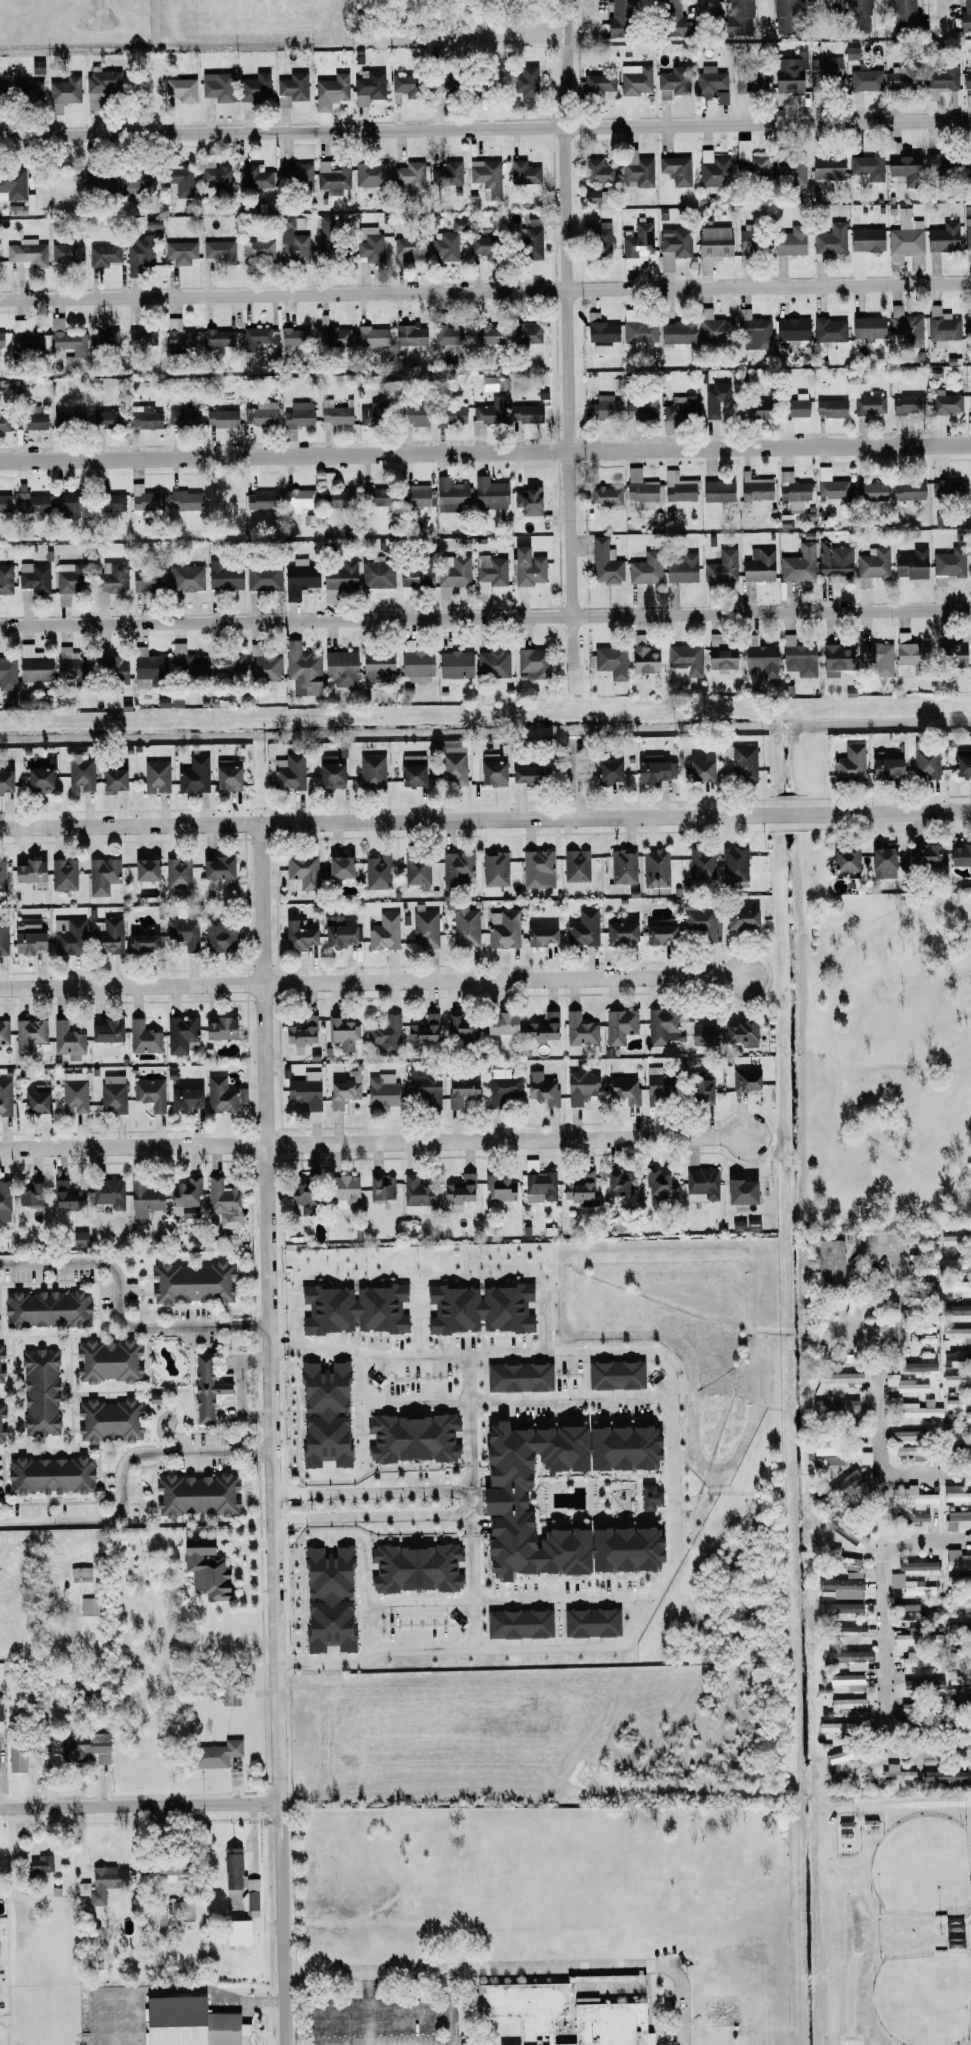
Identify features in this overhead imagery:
road: (577, 0)
road: (706, 7)
road: (941, 7)
road: (822, 10)
building: (903, 14)
building: (785, 15)
building: (964, 15)
building: (616, 16)
building: (669, 17)
building: (737, 19)
road: (567, 22)
building: (35, 66)
building: (825, 69)
building: (788, 73)
building: (902, 77)
building: (967, 77)
building: (635, 79)
building: (865, 79)
building: (939, 79)
building: (525, 81)
building: (749, 81)
building: (672, 82)
building: (400, 83)
building: (595, 83)
building: (711, 83)
building: (99, 85)
building: (484, 85)
building: (217, 86)
building: (368, 86)
building: (254, 87)
building: (291, 88)
building: (180, 89)
building: (26, 90)
building: (330, 91)
building: (63, 92)
building: (0, 93)
building: (395, 97)
building: (627, 101)
road: (485, 127)
building: (748, 161)
building: (900, 161)
building: (933, 163)
building: (967, 164)
building: (827, 167)
building: (867, 167)
building: (676, 169)
building: (713, 169)
building: (597, 170)
building: (636, 170)
building: (789, 171)
building: (370, 172)
building: (523, 172)
building: (408, 175)
building: (446, 175)
building: (217, 176)
building: (177, 177)
building: (256, 177)
building: (296, 177)
building: (332, 177)
building: (487, 177)
building: (137, 179)
building: (102, 181)
building: (12, 184)
building: (590, 196)
building: (533, 218)
building: (462, 225)
building: (906, 233)
building: (967, 233)
building: (943, 237)
building: (599, 239)
building: (866, 239)
building: (638, 240)
building: (830, 240)
building: (790, 241)
building: (329, 242)
building: (528, 242)
building: (751, 242)
building: (291, 243)
building: (368, 243)
building: (481, 244)
building: (408, 245)
building: (673, 245)
building: (712, 245)
building: (444, 247)
building: (257, 249)
building: (30, 252)
building: (66, 252)
building: (180, 252)
building: (218, 252)
building: (139, 253)
building: (103, 255)
building: (400, 258)
road: (485, 290)
building: (904, 321)
building: (942, 323)
building: (712, 326)
building: (754, 328)
building: (600, 329)
building: (791, 329)
building: (828, 329)
building: (867, 329)
building: (639, 331)
building: (524, 333)
building: (677, 333)
building: (408, 334)
building: (446, 334)
building: (177, 335)
building: (484, 335)
building: (290, 336)
building: (332, 336)
building: (371, 336)
building: (145, 337)
building: (218, 337)
building: (255, 337)
building: (105, 338)
building: (1, 339)
building: (25, 339)
building: (67, 339)
building: (602, 349)
road: (568, 360)
building: (486, 382)
building: (716, 400)
building: (945, 402)
building: (969, 402)
building: (869, 403)
building: (906, 404)
building: (794, 405)
building: (640, 406)
building: (679, 406)
building: (603, 407)
building: (830, 407)
building: (752, 408)
building: (489, 410)
building: (335, 411)
building: (262, 413)
building: (411, 413)
building: (450, 413)
building: (525, 413)
building: (298, 415)
building: (31, 416)
building: (144, 416)
building: (65, 417)
building: (184, 417)
building: (221, 417)
building: (103, 418)
building: (3, 420)
road: (485, 451)
building: (970, 480)
building: (830, 484)
building: (755, 488)
building: (642, 489)
building: (678, 489)
building: (717, 490)
building: (869, 490)
building: (908, 490)
building: (946, 490)
building: (415, 494)
building: (450, 494)
building: (489, 494)
building: (370, 495)
building: (605, 495)
building: (791, 495)
building: (143, 497)
building: (298, 497)
building: (184, 499)
building: (259, 499)
building: (332, 500)
building: (109, 501)
building: (528, 501)
building: (4, 503)
building: (31, 504)
building: (68, 505)
building: (833, 558)
building: (604, 562)
building: (798, 563)
building: (910, 563)
building: (757, 564)
building: (948, 564)
building: (969, 564)
building: (871, 565)
building: (527, 566)
building: (721, 566)
building: (645, 568)
building: (681, 568)
building: (489, 572)
building: (451, 573)
building: (339, 574)
building: (224, 575)
building: (414, 575)
building: (186, 577)
building: (263, 577)
building: (298, 577)
building: (375, 577)
building: (5, 578)
building: (67, 578)
building: (147, 578)
building: (33, 579)
building: (109, 580)
building: (63, 599)
road: (485, 616)
building: (719, 653)
building: (953, 654)
building: (760, 656)
building: (797, 657)
building: (876, 657)
building: (912, 657)
building: (685, 658)
building: (834, 658)
building: (642, 659)
building: (186, 661)
building: (531, 661)
building: (608, 661)
building: (68, 662)
building: (227, 662)
building: (491, 662)
building: (415, 663)
building: (31, 664)
building: (263, 664)
building: (376, 665)
building: (454, 665)
building: (146, 667)
building: (339, 667)
building: (113, 668)
building: (302, 669)
building: (7, 671)
building: (175, 700)
building: (451, 762)
building: (925, 762)
building: (962, 762)
building: (743, 763)
building: (849, 763)
building: (884, 767)
building: (490, 768)
building: (410, 769)
building: (699, 769)
building: (371, 770)
building: (606, 770)
building: (649, 770)
building: (524, 771)
building: (288, 772)
building: (328, 772)
building: (193, 774)
building: (79, 775)
building: (155, 775)
building: (226, 775)
road: (575, 776)
building: (111, 779)
building: (5, 780)
building: (37, 780)
road: (485, 818)
building: (922, 853)
building: (959, 854)
building: (843, 858)
building: (701, 862)
building: (883, 862)
building: (575, 865)
building: (735, 865)
building: (338, 866)
building: (143, 868)
building: (217, 868)
building: (456, 868)
building: (494, 868)
building: (415, 869)
building: (621, 869)
building: (655, 869)
building: (537, 870)
building: (27, 871)
building: (300, 871)
building: (176, 872)
building: (377, 873)
building: (62, 874)
building: (2, 875)
building: (102, 875)
building: (740, 917)
building: (25, 922)
building: (699, 922)
building: (465, 925)
building: (424, 927)
building: (582, 928)
building: (501, 930)
building: (182, 931)
building: (384, 931)
building: (339, 932)
building: (619, 932)
building: (658, 932)
building: (218, 933)
building: (106, 935)
building: (296, 935)
building: (538, 935)
building: (3, 936)
building: (67, 936)
building: (140, 941)
building: (25, 942)
road: (963, 976)
road: (840, 979)
road: (372, 980)
building: (499, 1025)
building: (619, 1025)
building: (659, 1025)
building: (545, 1026)
building: (462, 1027)
building: (218, 1028)
building: (423, 1028)
building: (579, 1029)
building: (3, 1031)
building: (301, 1031)
building: (739, 1031)
building: (384, 1032)
building: (104, 1033)
building: (180, 1033)
building: (342, 1034)
building: (702, 1034)
building: (29, 1036)
building: (142, 1037)
building: (67, 1040)
park: (884, 1053)
building: (745, 1078)
building: (656, 1082)
building: (424, 1085)
building: (503, 1085)
building: (579, 1086)
building: (541, 1088)
building: (623, 1089)
building: (380, 1090)
building: (700, 1090)
building: (461, 1091)
building: (304, 1092)
building: (341, 1092)
building: (74, 1093)
building: (111, 1093)
building: (149, 1093)
building: (223, 1094)
building: (4, 1096)
building: (182, 1098)
building: (35, 1099)
road: (373, 1140)
road: (872, 1140)
road: (922, 1167)
building: (619, 1182)
building: (658, 1184)
building: (701, 1184)
building: (539, 1186)
building: (578, 1186)
building: (381, 1187)
building: (499, 1189)
building: (342, 1191)
building: (107, 1192)
building: (739, 1193)
building: (29, 1194)
building: (416, 1194)
building: (65, 1195)
building: (297, 1196)
building: (185, 1197)
building: (143, 1198)
building: (4, 1200)
building: (224, 1202)
building: (78, 1238)
building: (955, 1239)
road: (896, 1258)
building: (828, 1262)
building: (950, 1262)
building: (192, 1283)
building: (959, 1287)
building: (45, 1308)
building: (352, 1308)
building: (478, 1308)
building: (956, 1309)
road: (120, 1310)
road: (546, 1323)
road: (415, 1324)
building: (957, 1333)
building: (0, 1350)
building: (106, 1360)
building: (917, 1366)
building: (614, 1374)
building: (0, 1376)
building: (517, 1377)
building: (839, 1377)
building: (956, 1378)
building: (906, 1384)
road: (242, 1387)
building: (203, 1388)
building: (39, 1392)
road: (491, 1399)
building: (958, 1403)
building: (836, 1406)
building: (912, 1408)
building: (1, 1410)
building: (323, 1414)
building: (108, 1420)
road: (470, 1428)
building: (853, 1430)
road: (274, 1433)
building: (1, 1435)
building: (908, 1435)
building: (411, 1438)
road: (887, 1443)
building: (908, 1450)
road: (673, 1453)
building: (840, 1454)
road: (361, 1458)
road: (124, 1470)
building: (49, 1475)
building: (853, 1481)
road: (373, 1488)
building: (195, 1494)
building: (911, 1496)
building: (957, 1496)
building: (647, 1497)
building: (499, 1500)
road: (277, 1505)
road: (374, 1515)
building: (912, 1517)
building: (958, 1519)
building: (845, 1530)
building: (834, 1551)
building: (956, 1560)
building: (849, 1563)
building: (915, 1563)
building: (413, 1568)
building: (204, 1569)
building: (79, 1573)
building: (958, 1580)
building: (909, 1585)
building: (842, 1587)
road: (367, 1595)
building: (327, 1598)
road: (510, 1601)
building: (959, 1604)
building: (87, 1606)
building: (839, 1607)
building: (914, 1612)
building: (590, 1622)
building: (517, 1623)
building: (848, 1632)
building: (908, 1637)
building: (933, 1638)
road: (376, 1648)
road: (887, 1652)
building: (959, 1656)
building: (849, 1658)
building: (920, 1659)
building: (847, 1681)
building: (961, 1681)
building: (927, 1686)
building: (847, 1703)
building: (0, 1710)
building: (959, 1726)
building: (835, 1727)
building: (83, 1747)
building: (214, 1754)
building: (836, 1756)
building: (15, 1758)
building: (896, 1772)
building: (943, 1779)
road: (140, 1809)
building: (39, 1863)
building: (232, 1869)
building: (167, 1870)
road: (16, 1873)
building: (100, 1883)
building: (249, 1902)
building: (183, 1909)
building: (158, 1913)
road: (30, 1938)
building: (953, 1943)
road: (517, 1972)
road: (169, 1990)
road: (373, 2009)
road: (454, 2009)
building: (561, 2014)
road: (414, 2015)
road: (129, 2018)
building: (186, 2022)

